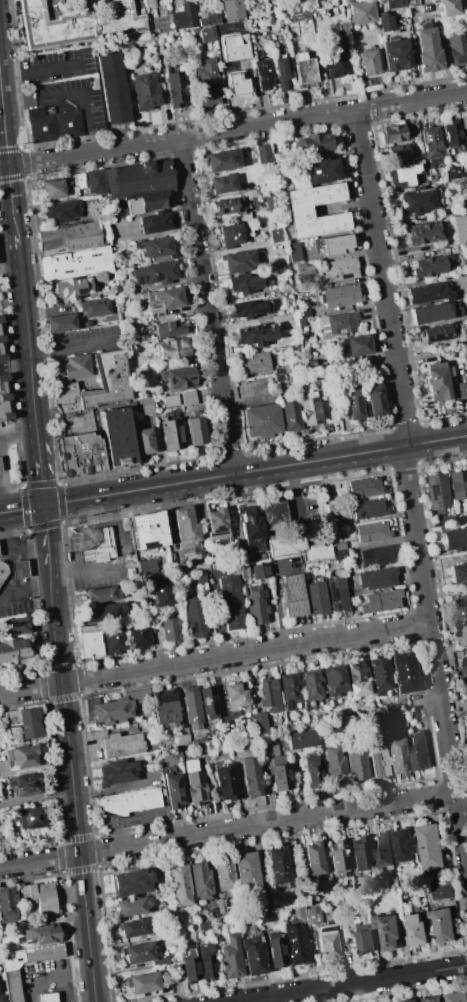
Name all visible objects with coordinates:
building: (347, 1)
building: (150, 4)
building: (396, 4)
building: (175, 5)
building: (450, 8)
building: (233, 10)
building: (362, 13)
building: (314, 15)
building: (301, 16)
building: (208, 20)
building: (385, 22)
building: (77, 24)
building: (211, 35)
building: (233, 47)
building: (457, 48)
building: (427, 49)
building: (396, 55)
building: (336, 57)
building: (367, 62)
building: (304, 69)
road: (39, 70)
building: (284, 74)
building: (263, 75)
building: (207, 83)
building: (236, 85)
building: (112, 88)
building: (175, 88)
building: (146, 92)
road: (430, 98)
road: (373, 102)
road: (81, 104)
road: (375, 113)
building: (52, 124)
building: (464, 129)
building: (394, 134)
building: (451, 135)
road: (177, 138)
building: (431, 143)
building: (312, 145)
building: (398, 154)
building: (263, 155)
building: (222, 161)
road: (5, 165)
building: (320, 171)
building: (453, 172)
building: (406, 174)
building: (79, 180)
building: (94, 181)
building: (223, 184)
building: (140, 185)
building: (55, 189)
building: (272, 201)
building: (417, 201)
building: (229, 206)
building: (299, 209)
building: (62, 212)
building: (155, 223)
building: (460, 228)
building: (424, 234)
building: (230, 235)
building: (276, 236)
building: (71, 238)
building: (337, 244)
building: (156, 247)
building: (295, 253)
road: (379, 259)
building: (239, 262)
building: (75, 264)
building: (432, 266)
building: (302, 269)
road: (8, 270)
building: (341, 270)
building: (155, 274)
building: (244, 284)
building: (299, 285)
road: (204, 288)
building: (72, 289)
building: (428, 293)
building: (339, 296)
building: (167, 298)
building: (95, 308)
building: (248, 309)
building: (435, 312)
building: (303, 313)
building: (0, 320)
building: (300, 322)
building: (339, 323)
building: (60, 324)
building: (86, 324)
building: (169, 329)
building: (437, 333)
building: (256, 334)
road: (24, 338)
building: (358, 345)
building: (1, 346)
road: (68, 349)
building: (173, 349)
building: (255, 364)
road: (13, 365)
building: (71, 368)
building: (281, 371)
building: (179, 377)
building: (279, 379)
building: (438, 382)
building: (113, 384)
building: (460, 390)
building: (187, 398)
building: (4, 400)
building: (170, 401)
building: (375, 401)
building: (355, 404)
building: (146, 407)
building: (309, 408)
building: (290, 417)
building: (262, 421)
building: (76, 422)
road: (401, 426)
road: (410, 427)
building: (196, 431)
building: (171, 434)
road: (17, 437)
building: (117, 438)
building: (144, 441)
building: (79, 455)
road: (234, 455)
road: (228, 456)
building: (0, 468)
road: (255, 471)
building: (0, 472)
road: (39, 474)
building: (458, 485)
building: (365, 487)
building: (438, 492)
traffic signals: (43, 506)
building: (368, 508)
road: (21, 509)
building: (328, 509)
building: (275, 518)
building: (448, 521)
building: (250, 523)
building: (335, 523)
building: (217, 524)
building: (186, 528)
building: (147, 530)
building: (372, 531)
road: (46, 539)
building: (455, 539)
building: (104, 545)
building: (296, 548)
building: (340, 554)
building: (86, 555)
building: (376, 556)
road: (120, 563)
building: (161, 565)
building: (179, 568)
building: (19, 569)
building: (3, 570)
gas station: (3, 570)
building: (147, 570)
building: (258, 570)
building: (241, 571)
building: (458, 572)
building: (200, 577)
building: (377, 579)
building: (161, 591)
road: (26, 595)
building: (102, 595)
building: (292, 595)
building: (337, 595)
building: (316, 598)
building: (380, 601)
building: (230, 602)
building: (256, 607)
building: (462, 607)
building: (104, 612)
building: (194, 617)
building: (13, 627)
building: (466, 628)
building: (170, 629)
building: (139, 637)
building: (91, 641)
building: (114, 641)
road: (433, 649)
building: (12, 650)
road: (214, 657)
building: (463, 660)
building: (380, 673)
building: (404, 673)
building: (356, 678)
building: (335, 680)
building: (312, 685)
building: (290, 689)
building: (269, 695)
building: (236, 698)
building: (208, 702)
building: (191, 706)
building: (113, 707)
building: (165, 707)
building: (397, 721)
building: (29, 723)
building: (259, 724)
building: (301, 739)
building: (181, 740)
building: (201, 742)
building: (122, 744)
building: (420, 751)
building: (22, 756)
building: (397, 756)
building: (378, 759)
building: (334, 763)
building: (356, 763)
building: (276, 767)
building: (313, 771)
building: (117, 772)
building: (251, 776)
building: (26, 783)
building: (194, 783)
building: (225, 783)
road: (72, 787)
building: (173, 789)
road: (110, 790)
building: (129, 801)
building: (31, 818)
road: (228, 829)
building: (405, 845)
building: (432, 845)
building: (384, 849)
building: (360, 853)
building: (338, 856)
building: (278, 865)
building: (316, 865)
building: (245, 870)
building: (224, 875)
building: (200, 880)
building: (131, 883)
building: (180, 884)
building: (442, 890)
building: (263, 894)
building: (39, 897)
building: (7, 905)
building: (133, 906)
building: (221, 907)
building: (300, 912)
building: (313, 915)
building: (265, 916)
building: (178, 920)
building: (444, 924)
building: (203, 925)
building: (134, 927)
building: (417, 929)
building: (389, 931)
building: (41, 934)
building: (366, 938)
building: (168, 942)
building: (327, 942)
building: (296, 944)
building: (275, 948)
building: (139, 953)
building: (252, 955)
building: (230, 957)
building: (207, 962)
building: (189, 964)
road: (49, 978)
road: (352, 982)
building: (143, 983)
building: (11, 985)
building: (47, 996)
building: (458, 997)
building: (1, 998)
building: (432, 998)
building: (411, 1000)

